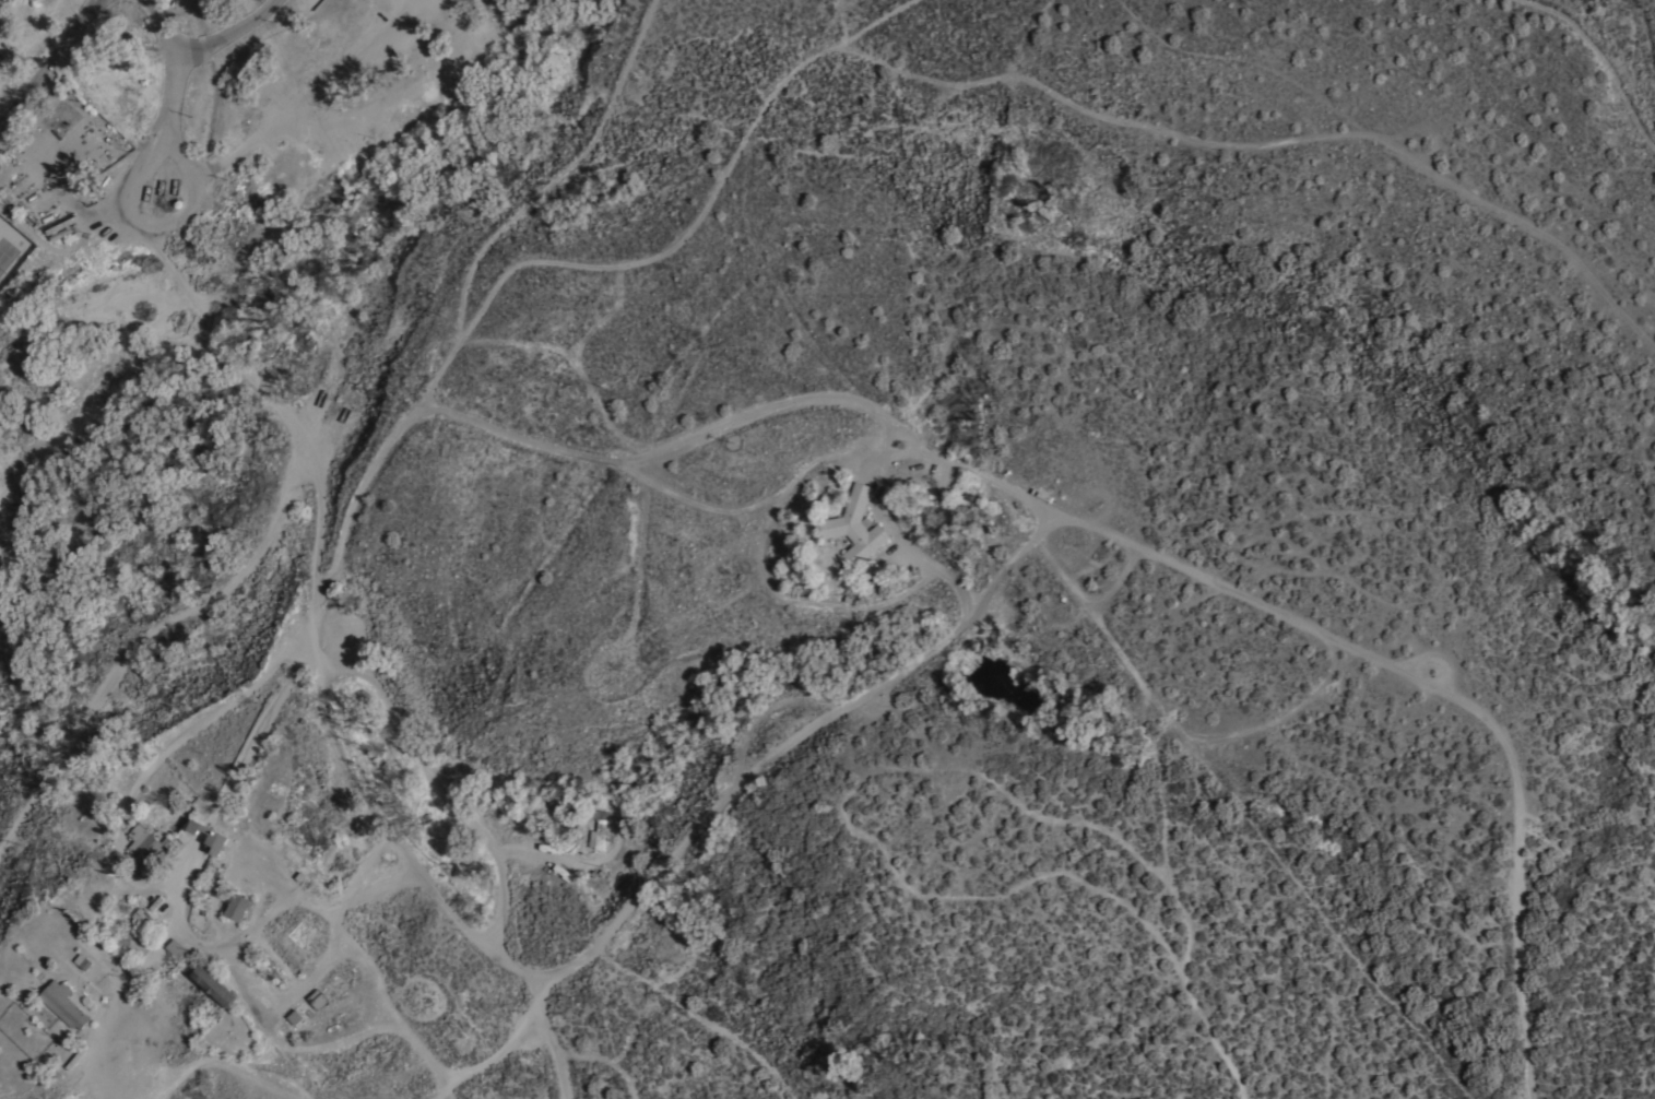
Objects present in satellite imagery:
road: (204, 46)
road: (52, 66)
building: (60, 119)
park: (7, 253)
road: (289, 417)
road: (588, 461)
building: (962, 516)
building: (854, 529)
road: (146, 648)
building: (598, 829)
building: (208, 837)
building: (144, 844)
road: (417, 882)
building: (236, 908)
building: (143, 920)
building: (175, 949)
building: (213, 986)
building: (316, 1000)
road: (672, 1003)
building: (62, 1005)
road: (221, 1062)
road: (116, 1084)

